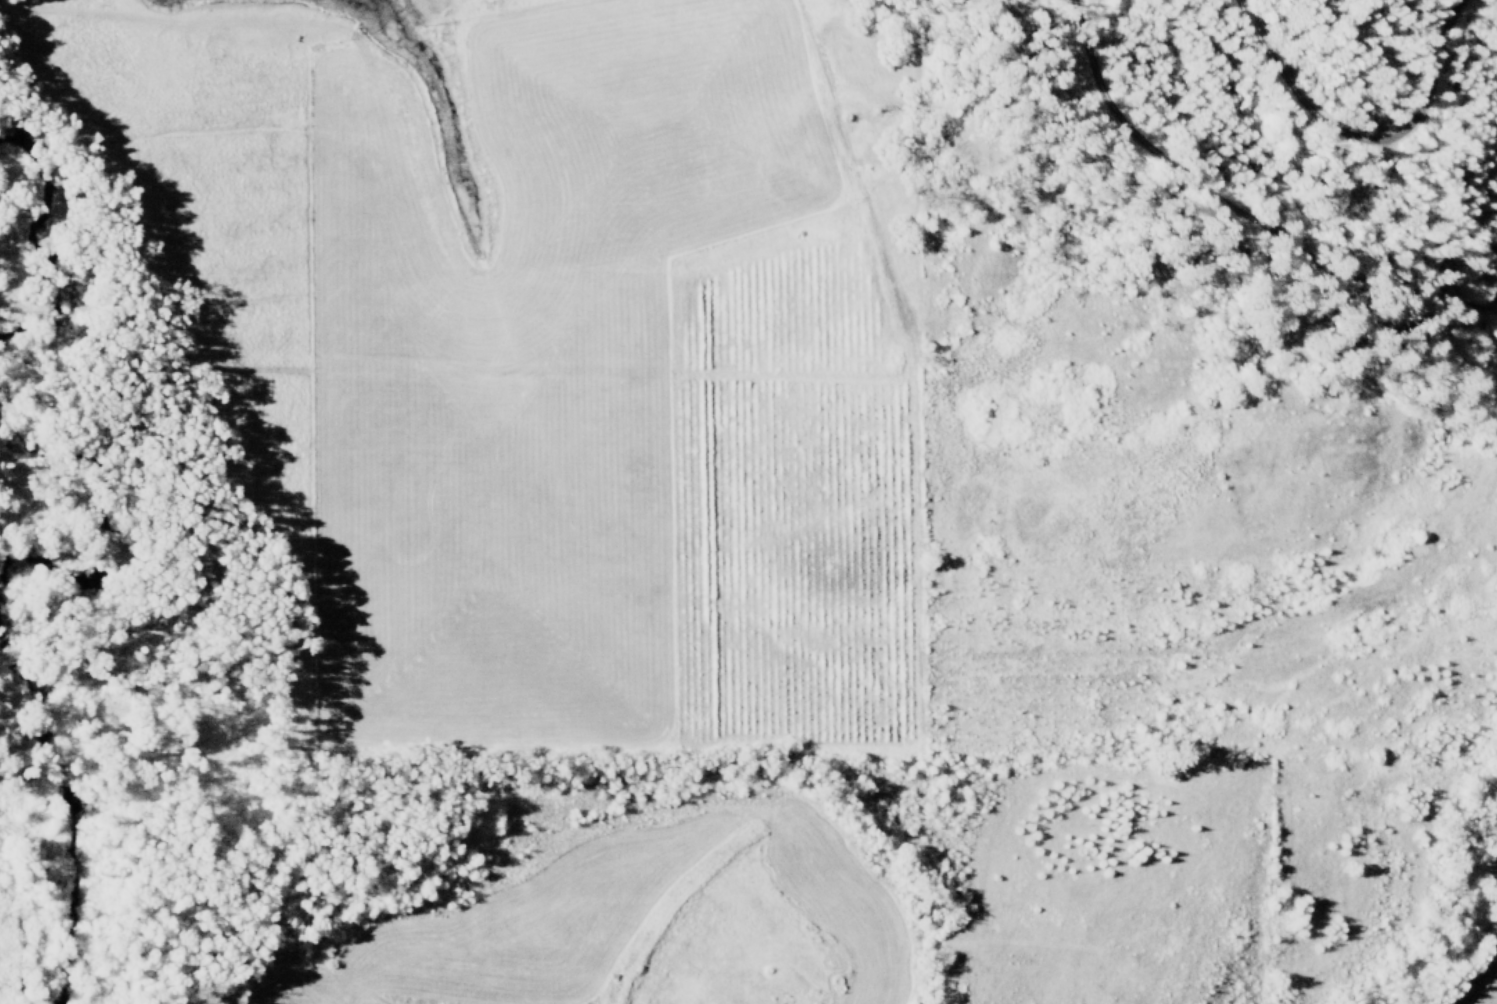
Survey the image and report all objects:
road: (1256, 215)
crop: (797, 493)

